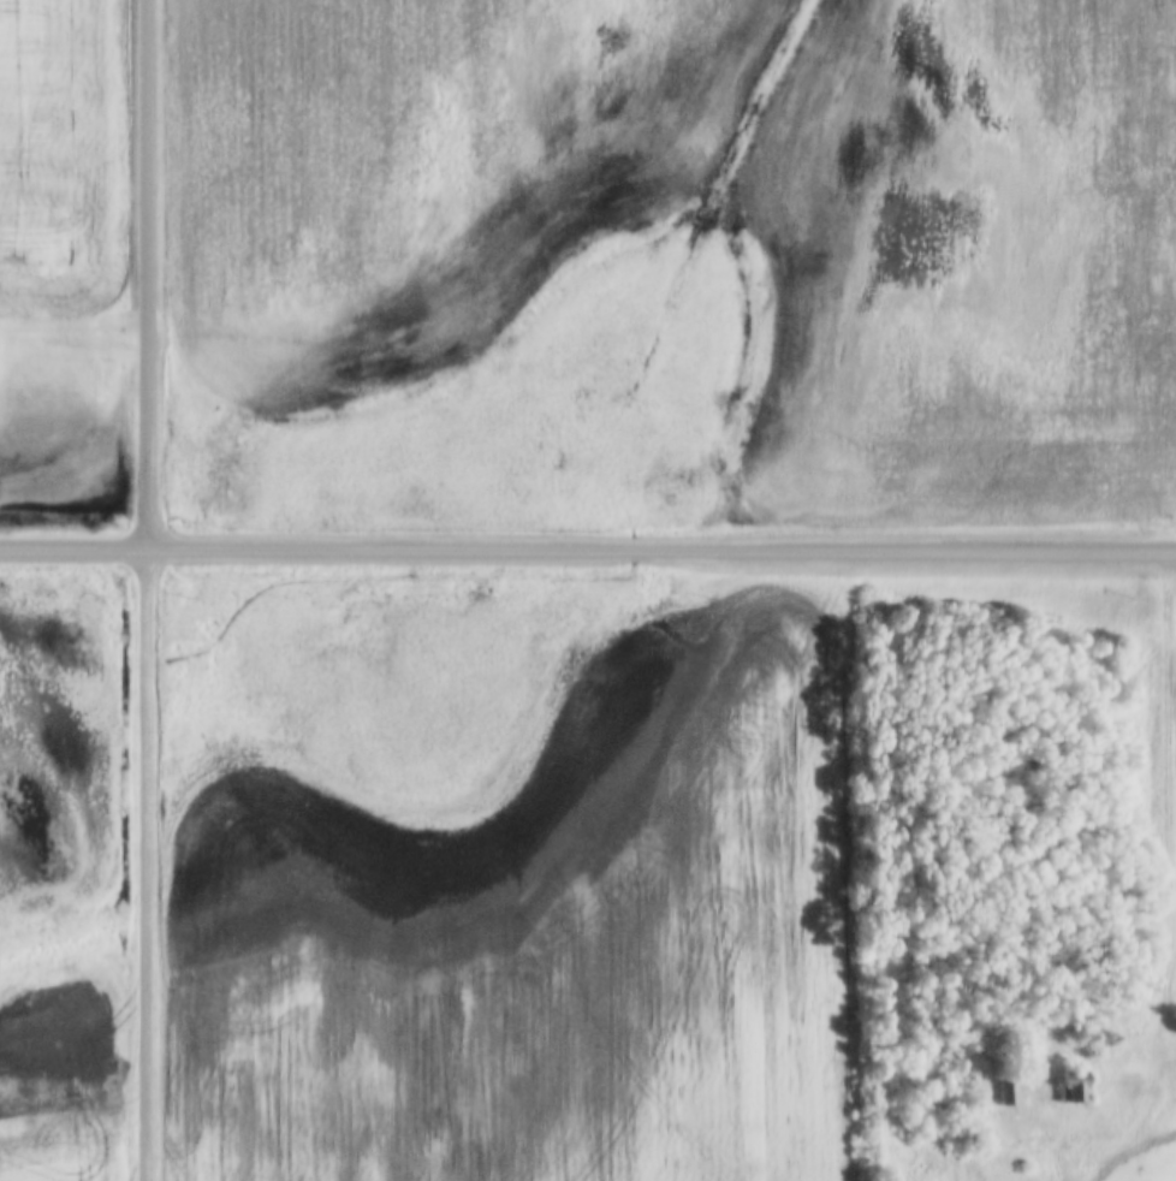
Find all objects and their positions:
road: (144, 274)
road: (587, 554)
road: (1170, 802)
road: (144, 866)
building: (1170, 1025)
building: (1063, 1087)
building: (999, 1094)

